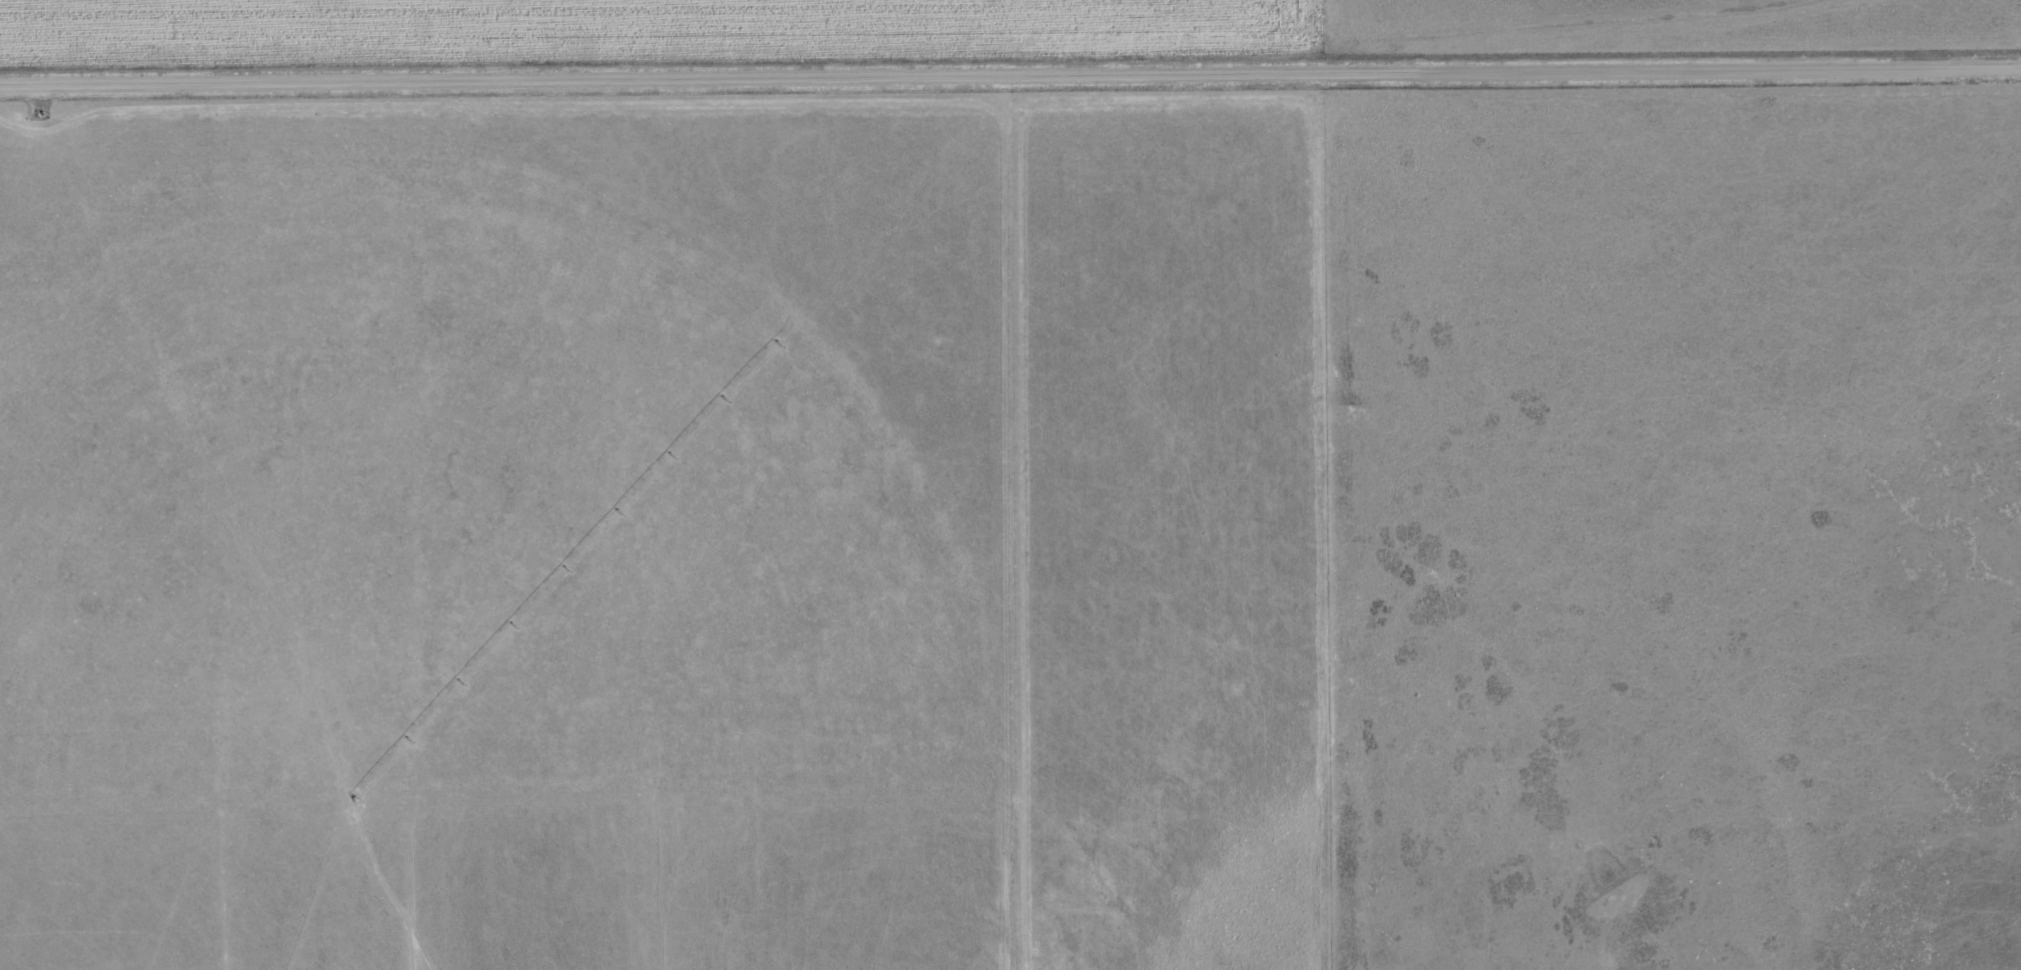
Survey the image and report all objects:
road: (1010, 74)

